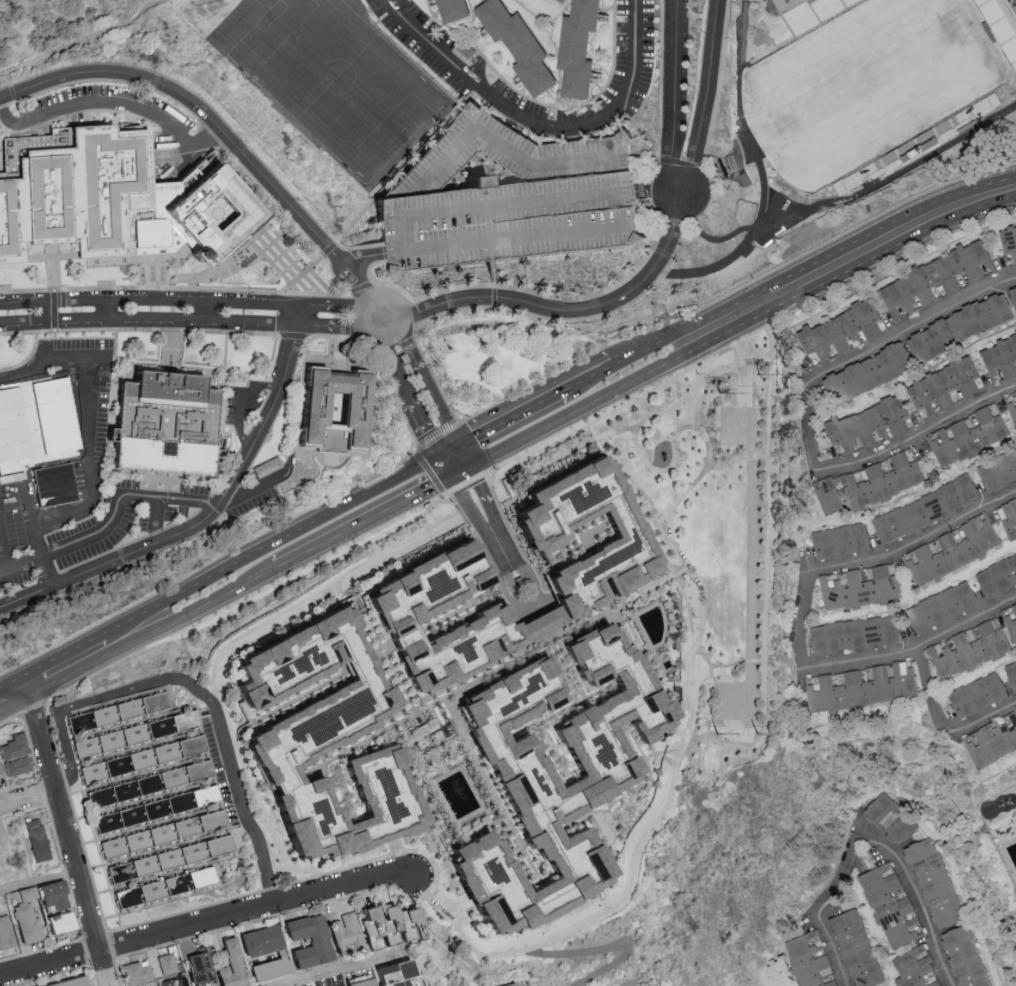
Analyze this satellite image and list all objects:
building: (561, 0)
building: (789, 0)
road: (428, 3)
park: (32, 8)
building: (451, 10)
building: (1001, 28)
road: (80, 43)
building: (516, 45)
building: (575, 48)
parking lot: (460, 74)
park: (338, 82)
road: (11, 85)
park: (863, 87)
road: (675, 95)
road: (14, 96)
road: (705, 97)
road: (113, 103)
road: (191, 105)
building: (470, 108)
parking lot: (109, 110)
road: (537, 123)
road: (423, 145)
road: (19, 161)
road: (652, 191)
parking lot: (503, 198)
building: (85, 200)
road: (496, 208)
building: (206, 215)
building: (498, 220)
building: (1008, 241)
road: (518, 243)
road: (333, 248)
road: (853, 257)
road: (377, 258)
road: (319, 260)
road: (25, 261)
road: (52, 272)
road: (351, 272)
building: (935, 277)
building: (952, 283)
road: (493, 285)
road: (327, 288)
road: (738, 288)
road: (144, 290)
building: (1013, 298)
road: (148, 302)
road: (582, 302)
road: (380, 303)
road: (343, 308)
road: (407, 308)
road: (106, 311)
road: (370, 312)
road: (52, 313)
road: (206, 313)
road: (295, 317)
road: (395, 319)
road: (147, 320)
road: (412, 322)
building: (959, 325)
road: (336, 328)
road: (389, 328)
road: (552, 328)
building: (870, 329)
building: (837, 330)
road: (906, 330)
road: (53, 331)
road: (86, 332)
road: (251, 335)
road: (751, 335)
road: (652, 346)
road: (172, 352)
building: (1000, 356)
building: (402, 360)
road: (394, 363)
road: (663, 366)
building: (867, 371)
road: (345, 376)
power tower: (761, 377)
road: (588, 379)
building: (941, 384)
road: (430, 386)
road: (394, 390)
power tower: (723, 396)
road: (599, 399)
building: (1011, 405)
road: (242, 408)
building: (351, 409)
road: (508, 420)
building: (160, 423)
building: (865, 424)
road: (422, 429)
road: (811, 429)
road: (616, 432)
building: (966, 433)
parking lot: (53, 435)
road: (921, 435)
road: (86, 440)
road: (516, 442)
road: (50, 447)
traffic signals: (454, 448)
road: (447, 451)
road: (18, 455)
road: (456, 460)
road: (738, 460)
road: (449, 463)
building: (998, 469)
road: (429, 472)
traffic signals: (458, 472)
building: (865, 482)
building: (52, 484)
road: (252, 489)
road: (353, 502)
building: (923, 507)
road: (750, 514)
building: (1008, 516)
road: (481, 517)
road: (367, 520)
road: (157, 522)
road: (112, 525)
road: (203, 525)
parking lot: (99, 530)
building: (539, 536)
road: (915, 537)
park: (724, 538)
building: (839, 539)
road: (21, 542)
road: (3, 545)
building: (950, 549)
road: (208, 565)
building: (997, 576)
building: (858, 585)
road: (183, 592)
road: (532, 602)
road: (766, 602)
building: (942, 606)
building: (402, 610)
road: (194, 611)
road: (802, 617)
building: (1010, 619)
building: (853, 633)
road: (375, 640)
road: (910, 643)
road: (225, 646)
building: (968, 647)
road: (726, 666)
road: (69, 668)
road: (567, 671)
road: (494, 672)
building: (1011, 673)
road: (683, 684)
building: (861, 685)
road: (929, 688)
road: (195, 690)
building: (978, 694)
road: (14, 696)
road: (557, 715)
road: (985, 715)
building: (322, 725)
power tower: (757, 736)
power tower: (720, 737)
building: (992, 739)
building: (14, 747)
road: (662, 753)
building: (17, 766)
building: (0, 773)
road: (707, 776)
building: (600, 785)
road: (646, 789)
road: (493, 790)
road: (29, 797)
building: (145, 806)
building: (889, 816)
road: (70, 836)
building: (35, 840)
road: (838, 871)
road: (39, 882)
road: (916, 899)
road: (603, 902)
building: (890, 903)
building: (947, 911)
building: (23, 913)
building: (58, 922)
road: (206, 923)
building: (374, 927)
building: (5, 933)
building: (260, 940)
road: (605, 947)
road: (828, 947)
building: (855, 947)
building: (296, 948)
building: (807, 958)
building: (166, 964)
building: (230, 964)
building: (199, 968)
building: (915, 968)
road: (347, 969)
building: (134, 973)
building: (826, 973)
building: (386, 975)
building: (69, 982)
building: (512, 985)

